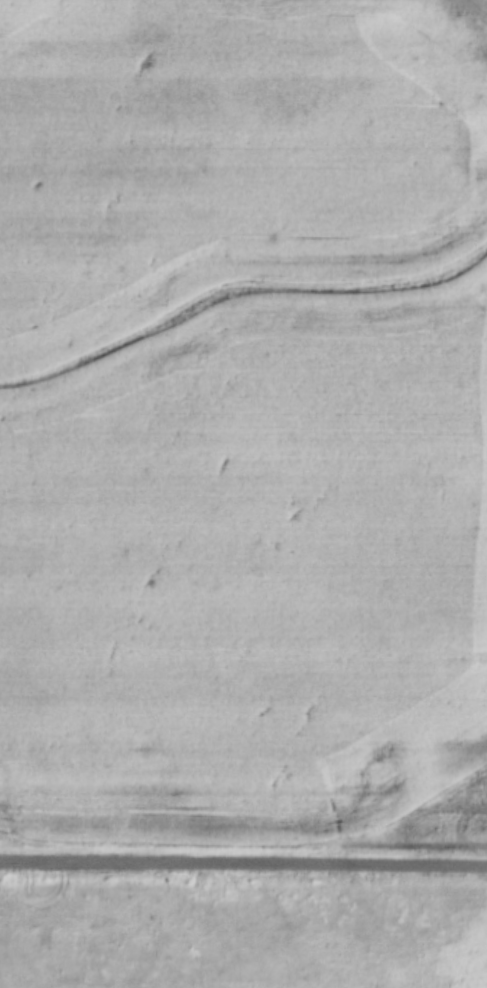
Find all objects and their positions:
road: (243, 865)

